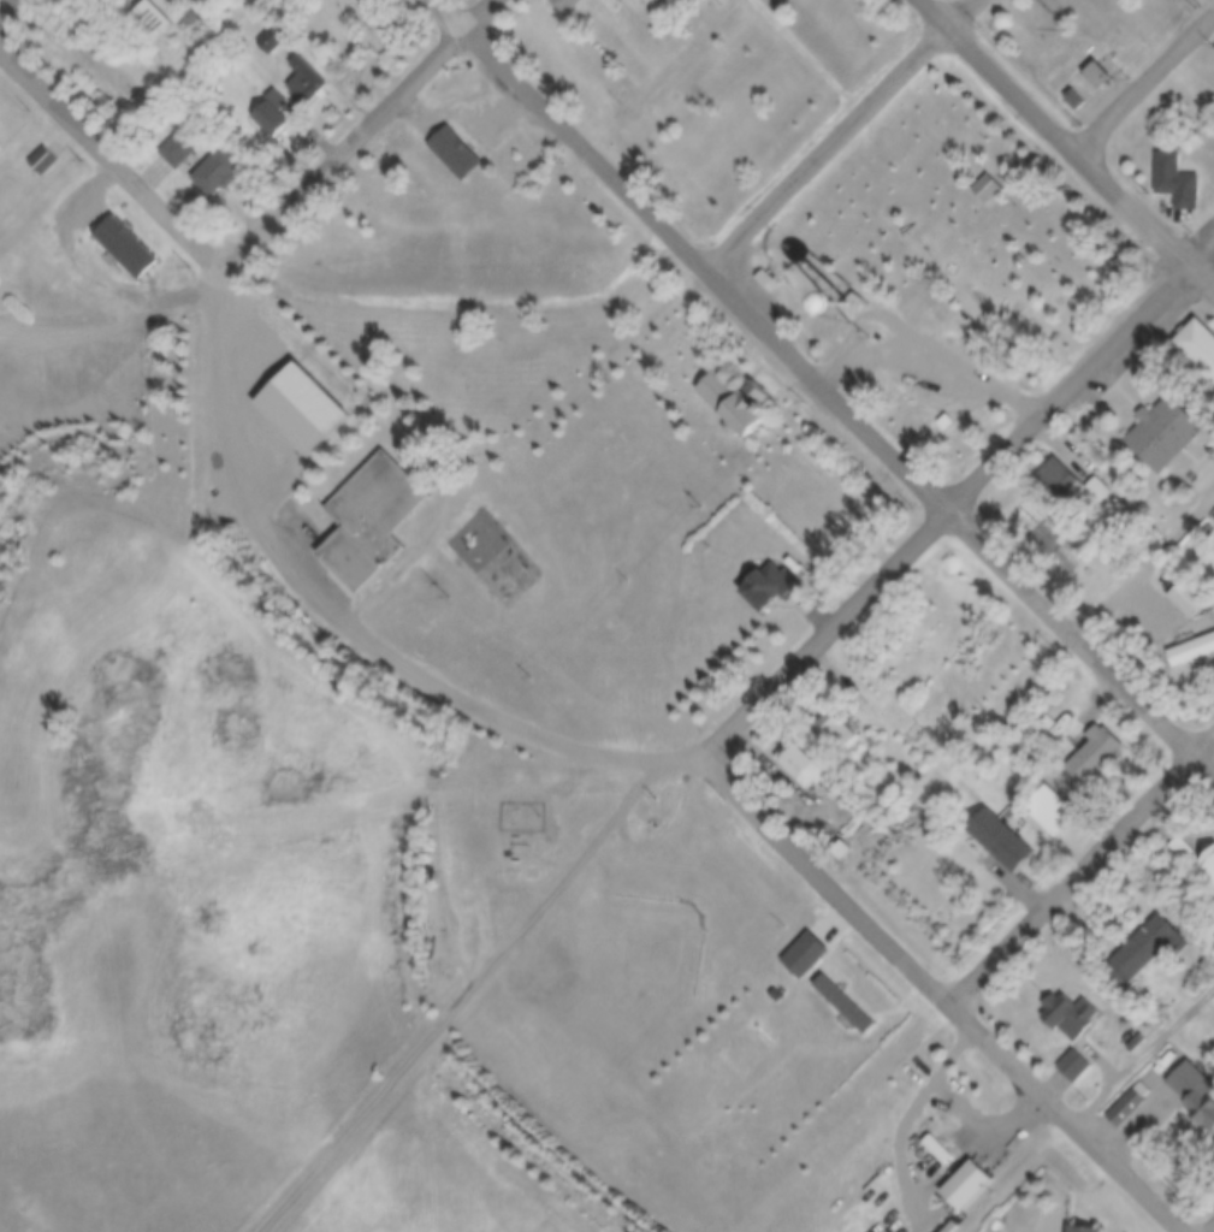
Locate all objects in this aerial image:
building: (565, 5)
road: (486, 12)
road: (13, 13)
building: (368, 16)
building: (152, 22)
building: (268, 43)
building: (1100, 76)
building: (303, 79)
road: (1147, 95)
building: (1077, 101)
building: (274, 115)
road: (843, 137)
road: (1064, 147)
road: (350, 149)
building: (174, 153)
building: (460, 155)
building: (40, 164)
road: (113, 165)
building: (218, 173)
building: (1178, 180)
building: (989, 190)
building: (125, 248)
park: (944, 278)
building: (764, 280)
water tower: (852, 312)
building: (1200, 345)
road: (938, 362)
road: (825, 396)
building: (742, 404)
building: (947, 423)
building: (1167, 433)
building: (1060, 478)
building: (1100, 491)
road: (958, 513)
building: (374, 521)
building: (701, 549)
building: (772, 588)
building: (1192, 599)
road: (348, 629)
building: (1192, 652)
road: (1024, 701)
building: (1097, 756)
building: (803, 765)
building: (923, 769)
building: (1067, 810)
building: (1003, 842)
building: (1186, 849)
building: (1212, 860)
road: (1083, 876)
building: (1147, 949)
building: (806, 955)
road: (938, 997)
road: (474, 1001)
building: (846, 1008)
building: (1072, 1017)
road: (1147, 1065)
building: (1074, 1067)
building: (1196, 1089)
building: (1126, 1109)
building: (940, 1151)
building: (970, 1186)
building: (1086, 1228)

